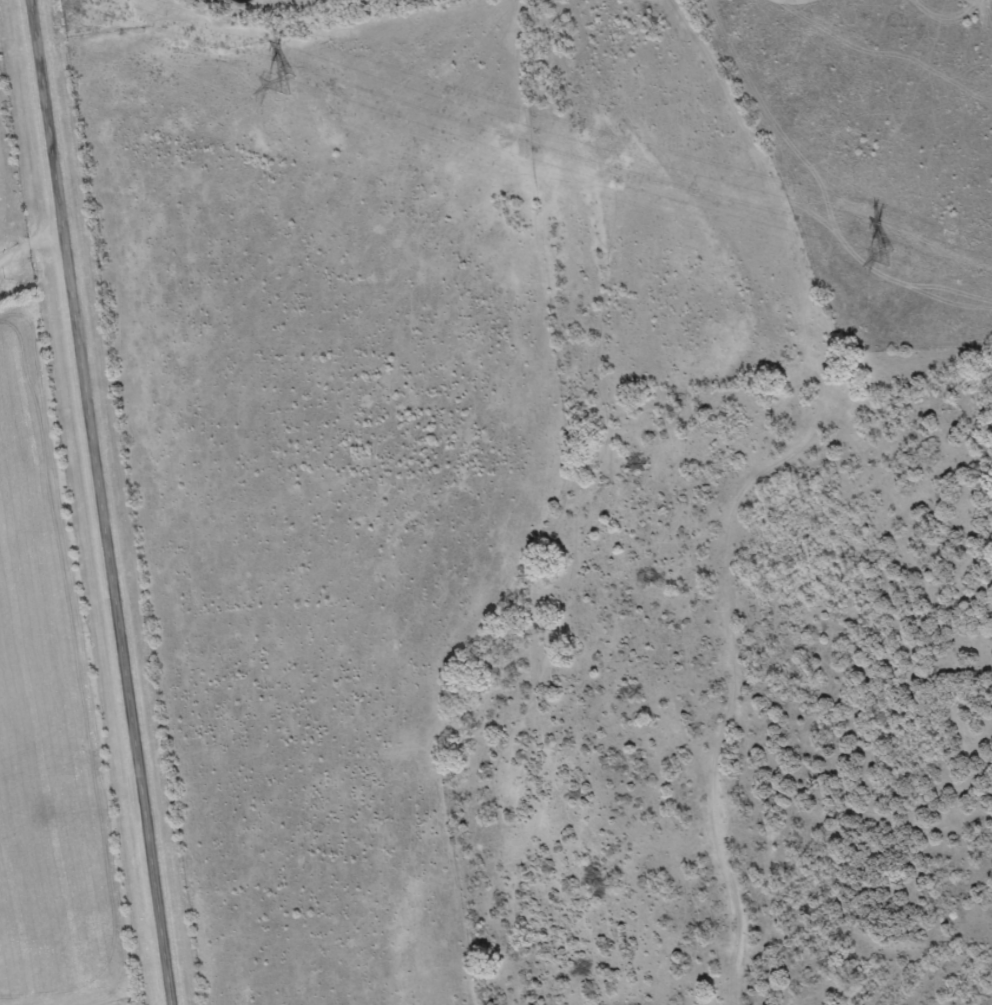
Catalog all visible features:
power tower: (283, 84)
road: (33, 254)
power tower: (884, 256)
road: (104, 502)

